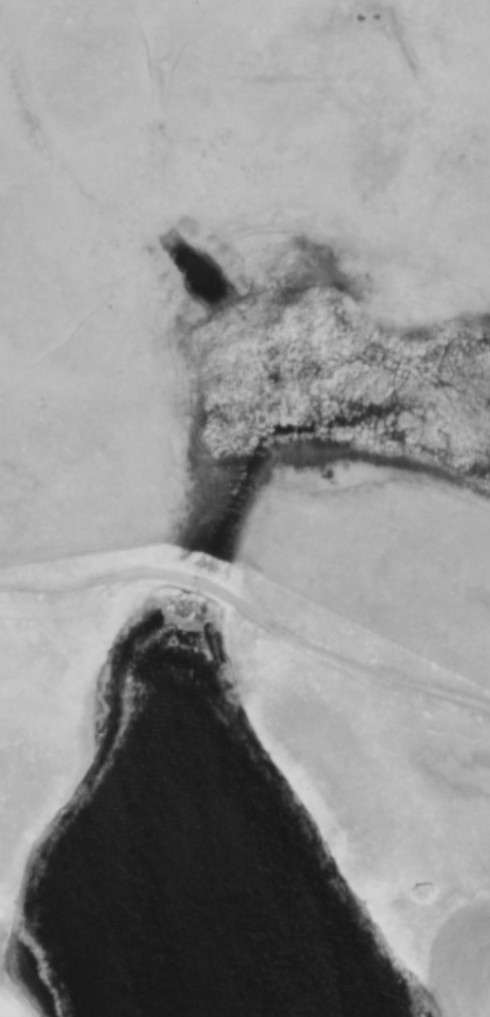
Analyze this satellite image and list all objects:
road: (249, 614)

